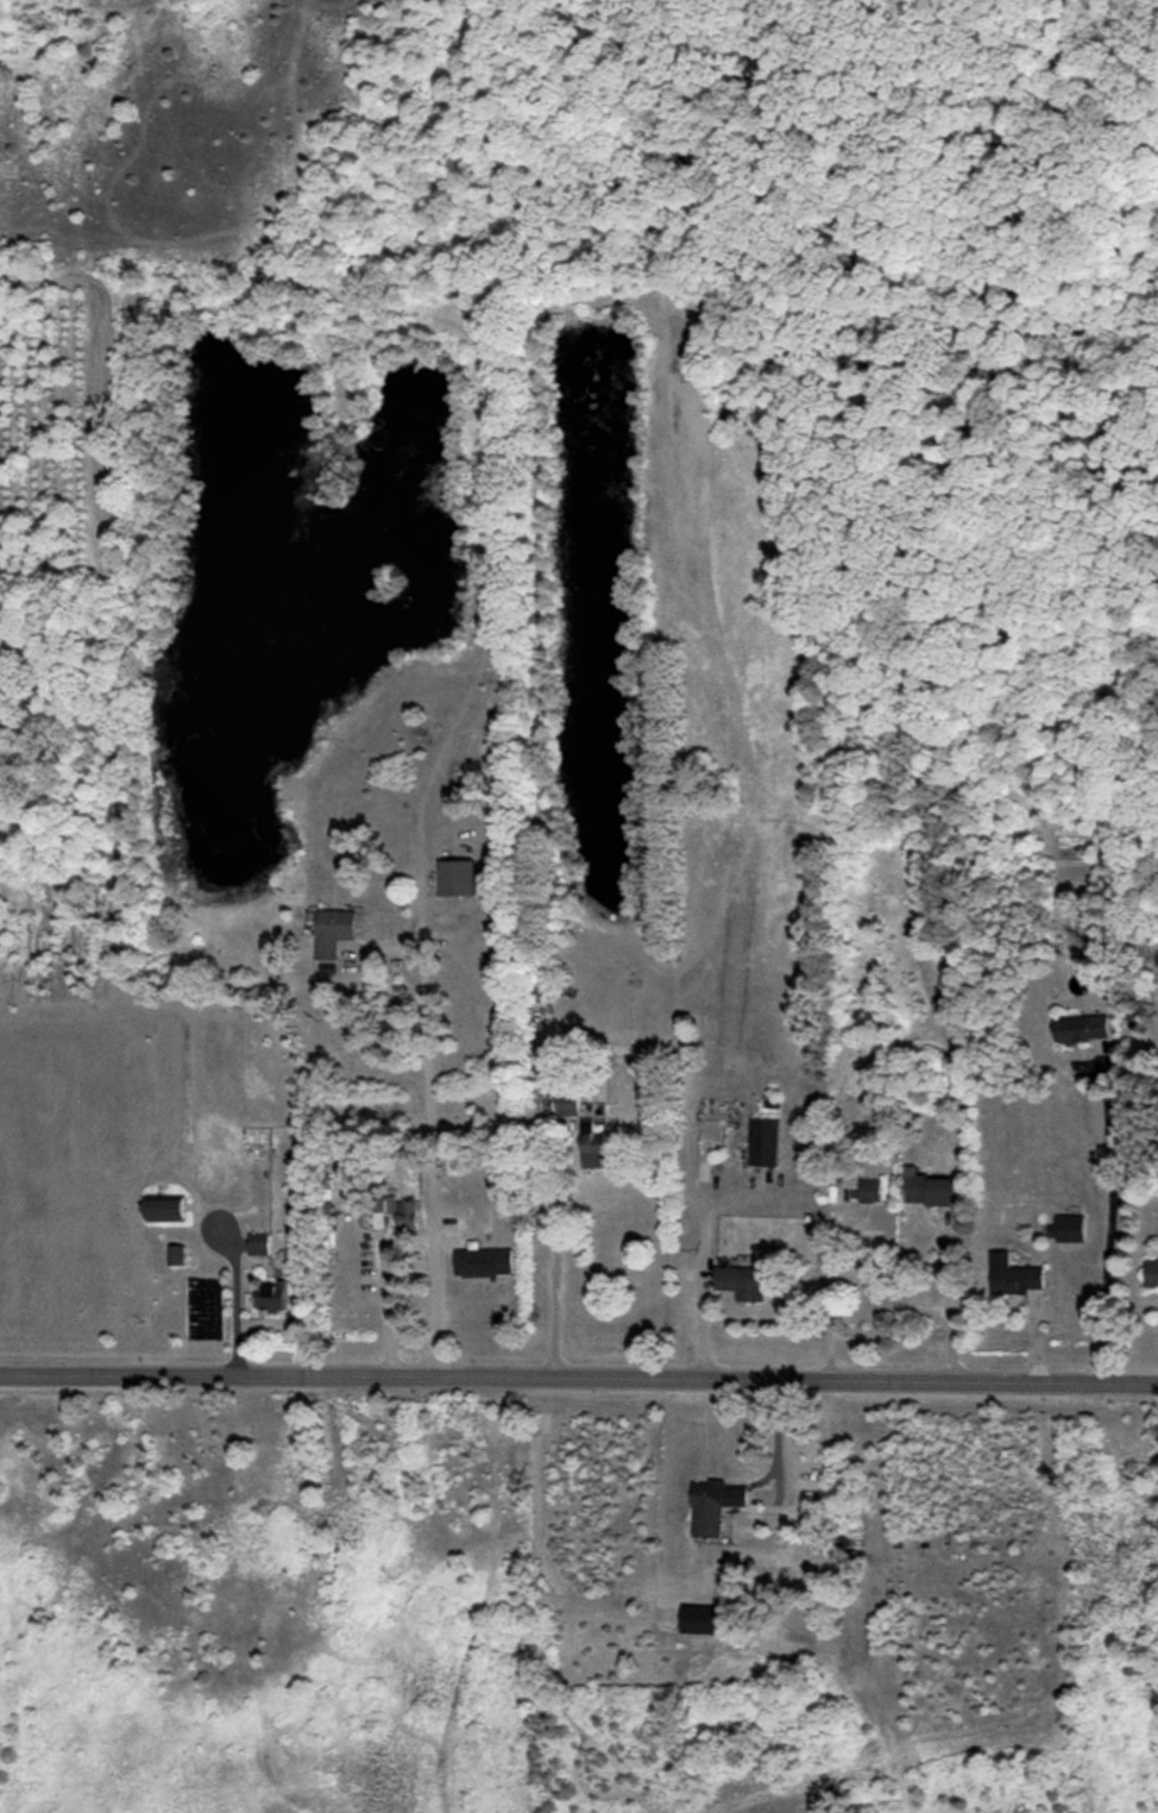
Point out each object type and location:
building: (458, 878)
building: (335, 930)
building: (1082, 1029)
building: (567, 1099)
building: (764, 1142)
building: (593, 1146)
road: (430, 1167)
building: (931, 1188)
building: (869, 1191)
road: (552, 1200)
building: (166, 1210)
road: (1106, 1211)
building: (407, 1215)
building: (1066, 1229)
building: (259, 1244)
building: (177, 1255)
building: (484, 1261)
building: (1151, 1273)
building: (1012, 1275)
building: (747, 1281)
road: (832, 1292)
building: (273, 1297)
road: (950, 1306)
road: (386, 1319)
road: (237, 1320)
road: (579, 1384)
building: (715, 1506)
building: (698, 1619)

